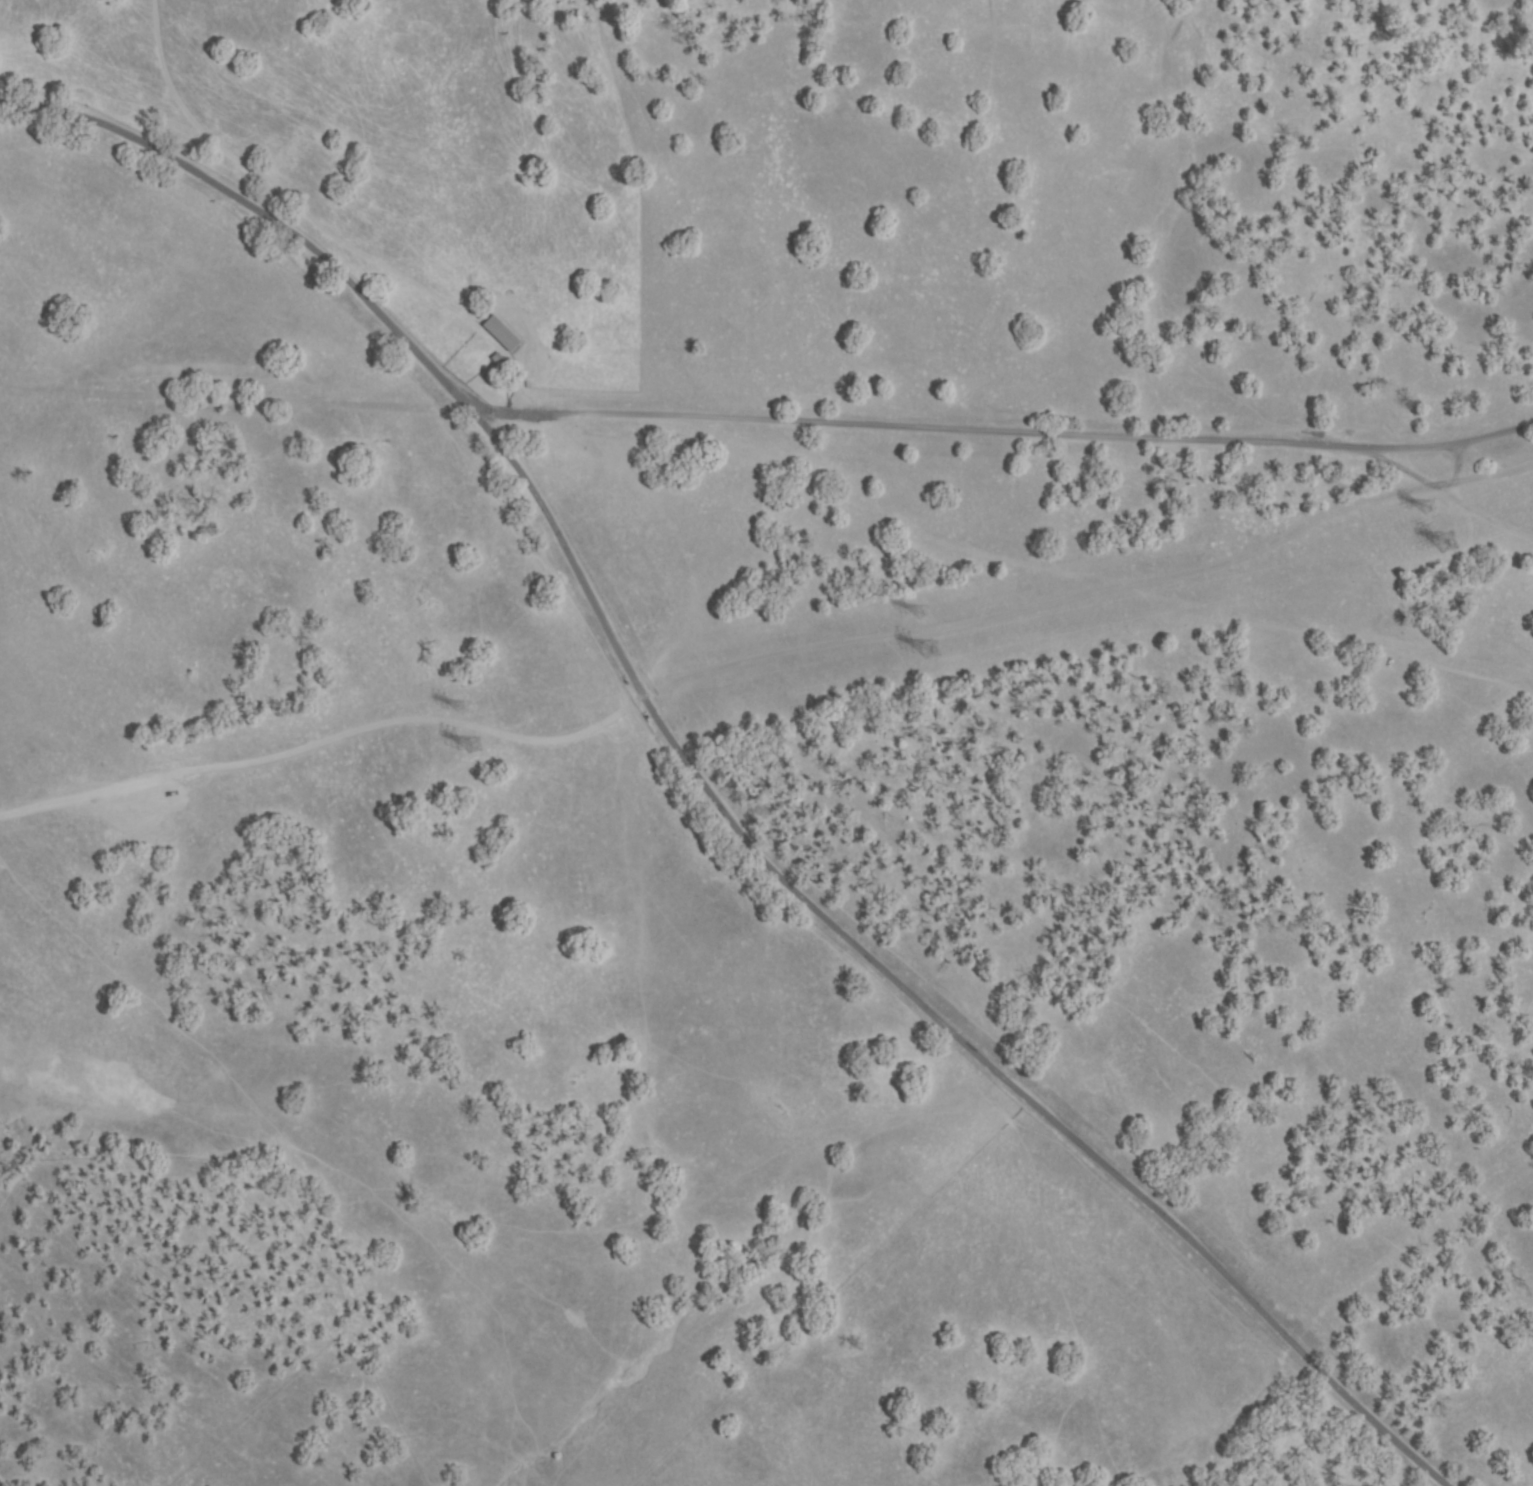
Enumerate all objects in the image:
road: (220, 133)
building: (502, 334)
building: (499, 361)
road: (1006, 432)
power tower: (1427, 510)
building: (1452, 541)
power tower: (1444, 546)
power tower: (921, 616)
power tower: (930, 653)
road: (763, 657)
power tower: (466, 711)
power tower: (470, 750)
road: (711, 783)

